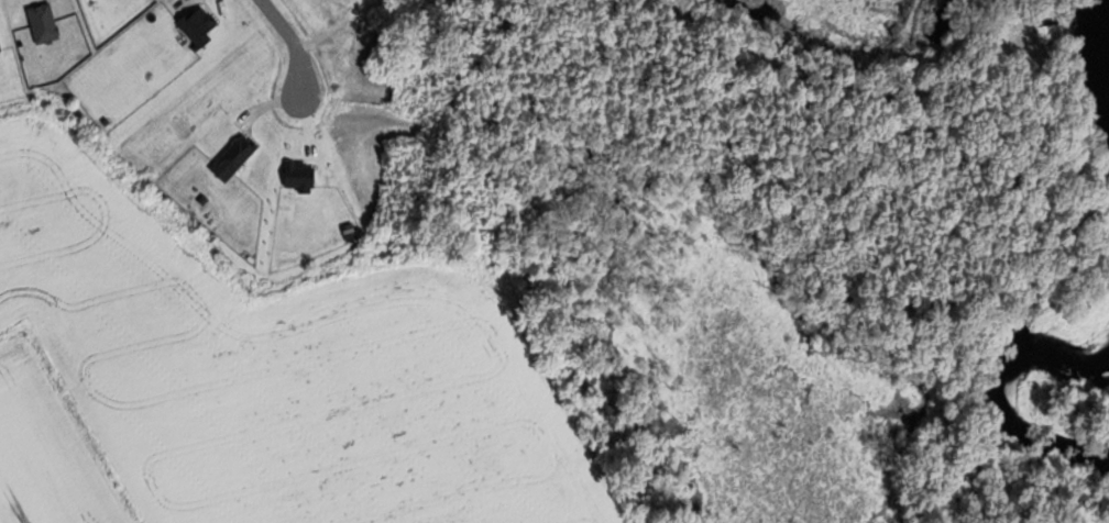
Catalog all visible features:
river: (1108, 5)
road: (297, 42)
river: (1090, 310)

